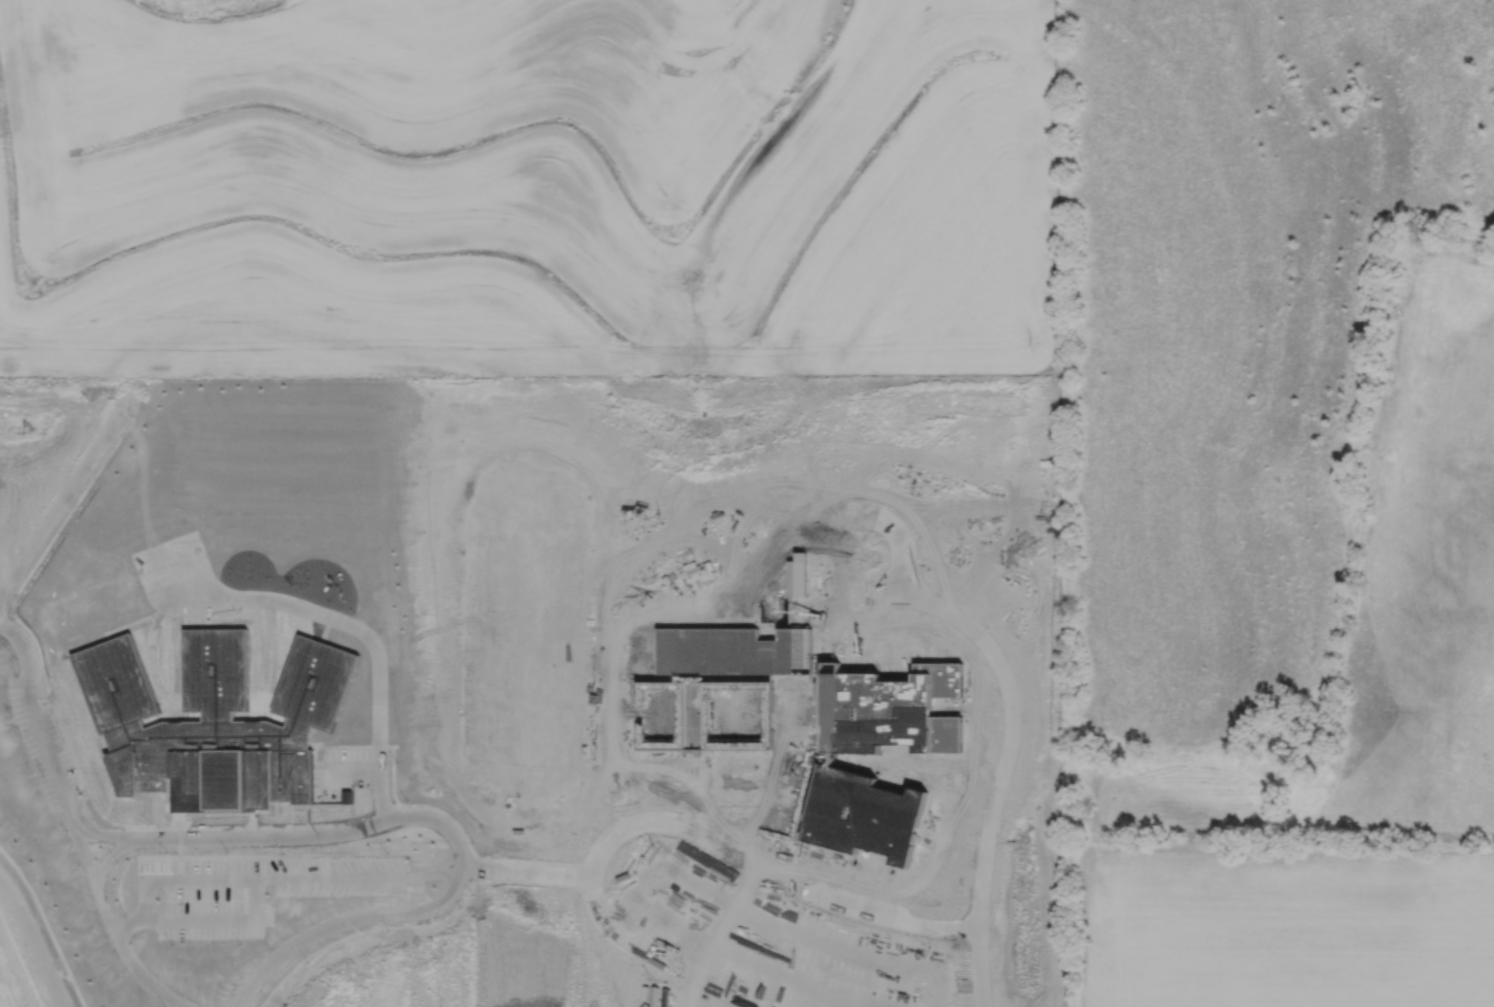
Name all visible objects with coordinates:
road: (60, 503)
road: (19, 644)
road: (38, 739)
road: (67, 818)
road: (347, 826)
road: (100, 834)
road: (82, 862)
road: (355, 874)
road: (161, 878)
road: (213, 915)
road: (32, 943)
road: (812, 987)

